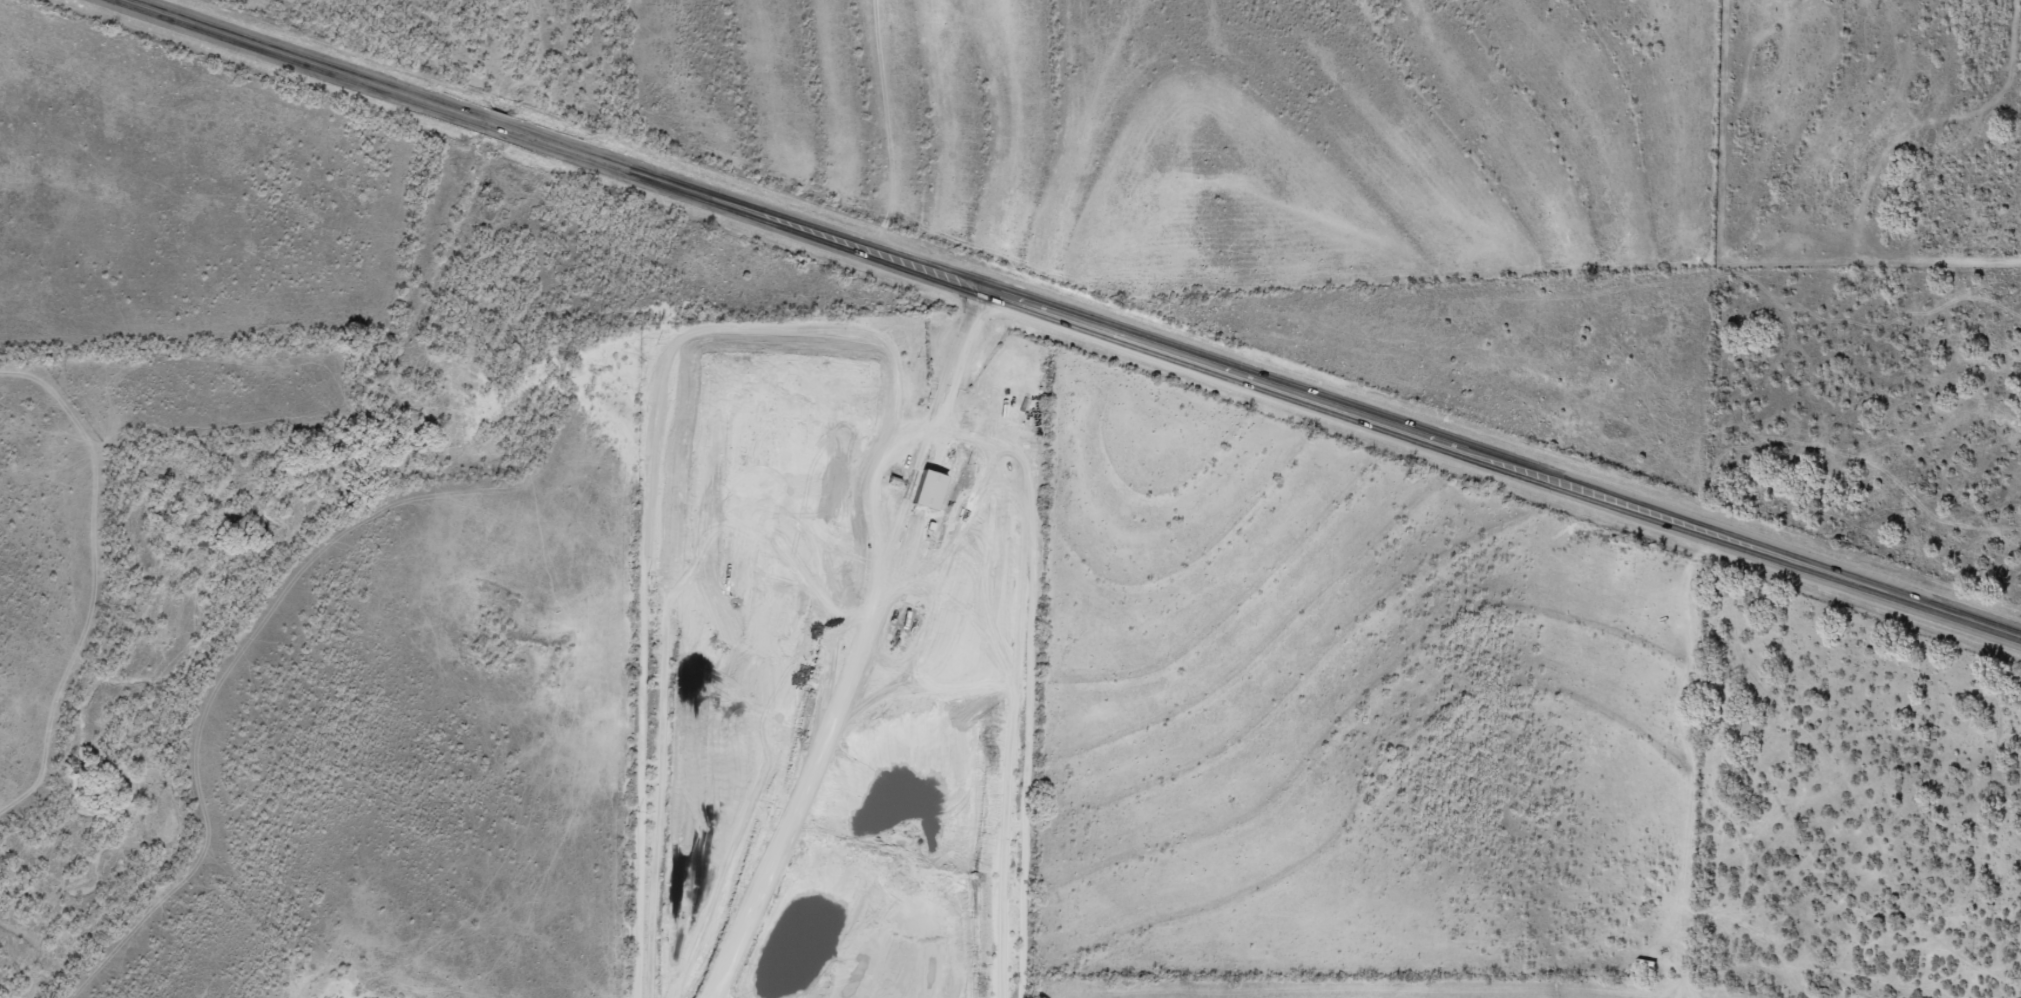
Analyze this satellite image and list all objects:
road: (1068, 323)
road: (858, 654)

